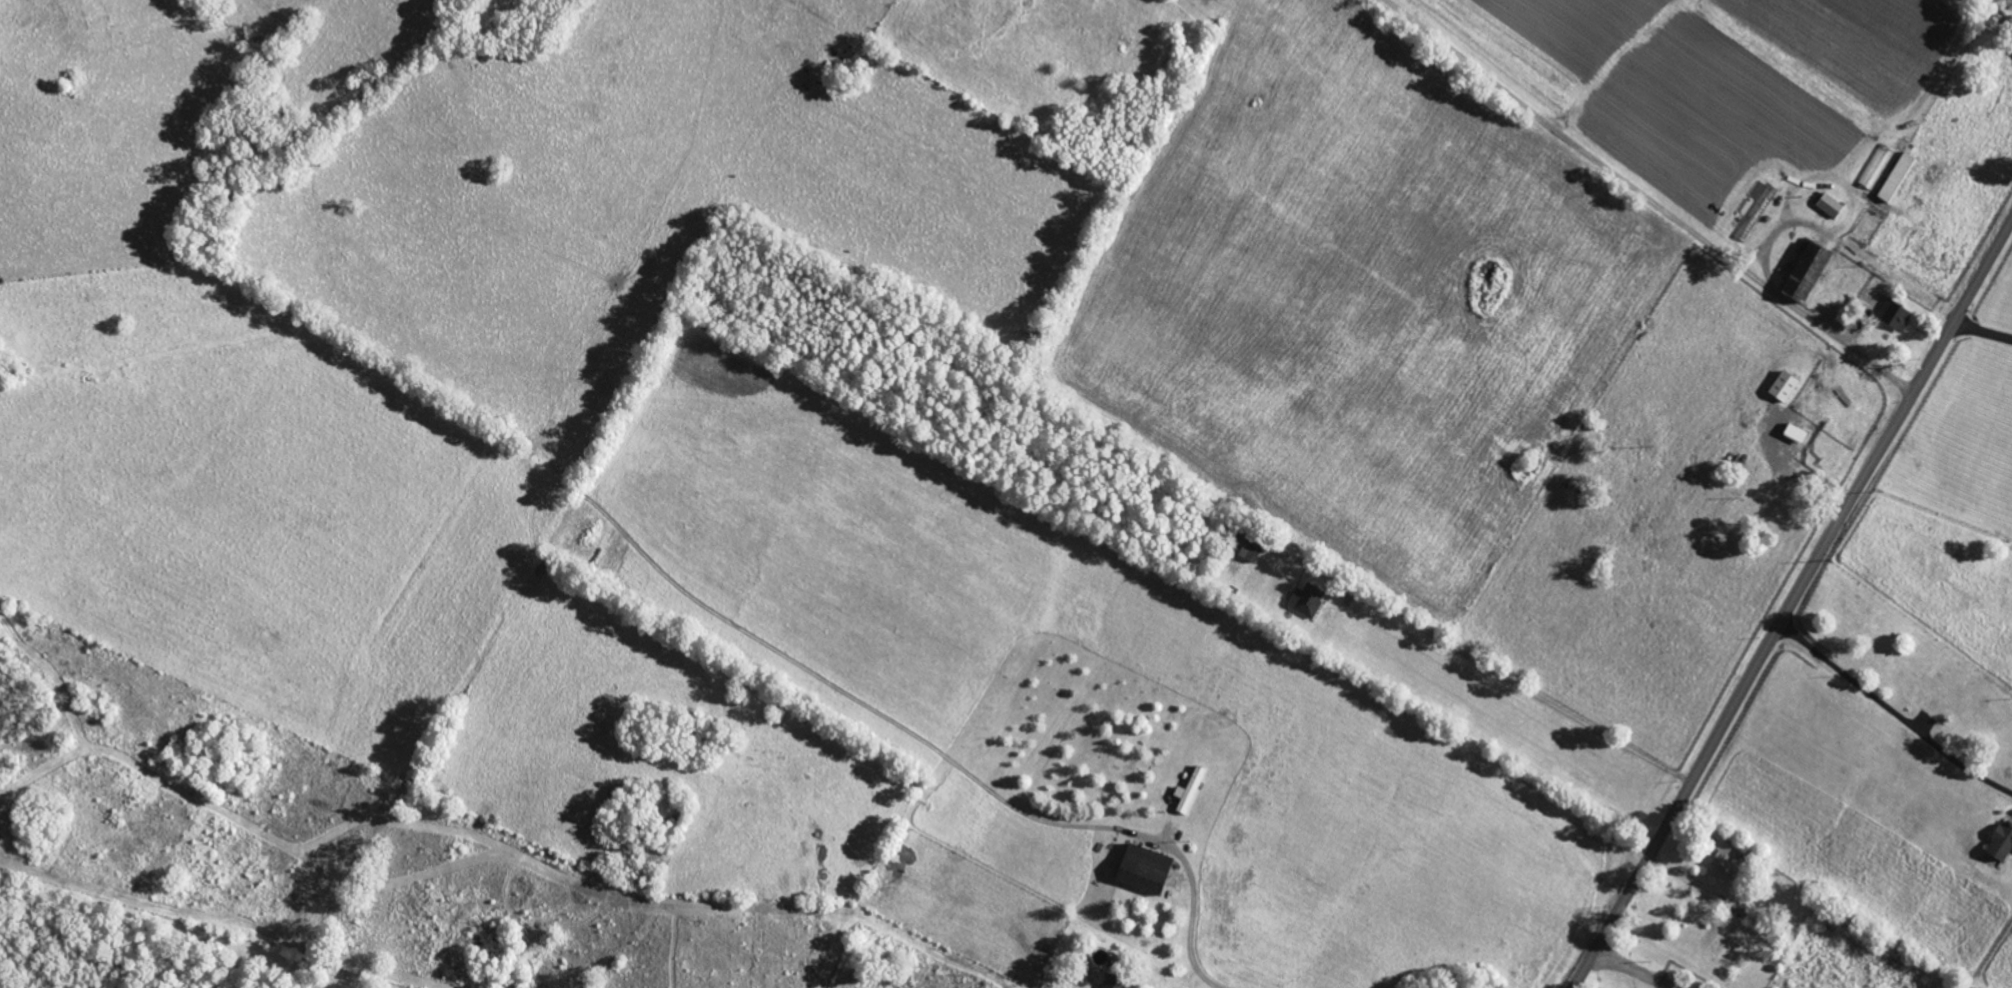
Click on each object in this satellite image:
road: (1982, 18)
road: (1648, 199)
building: (1829, 205)
building: (1804, 273)
building: (1893, 315)
road: (1982, 331)
building: (1782, 387)
building: (1794, 433)
building: (1306, 599)
road: (1791, 602)
road: (1521, 687)
road: (1892, 712)
building: (1189, 789)
building: (2000, 841)
building: (1725, 857)
building: (1142, 868)
road: (1193, 912)
road: (1633, 969)
building: (1110, 981)

